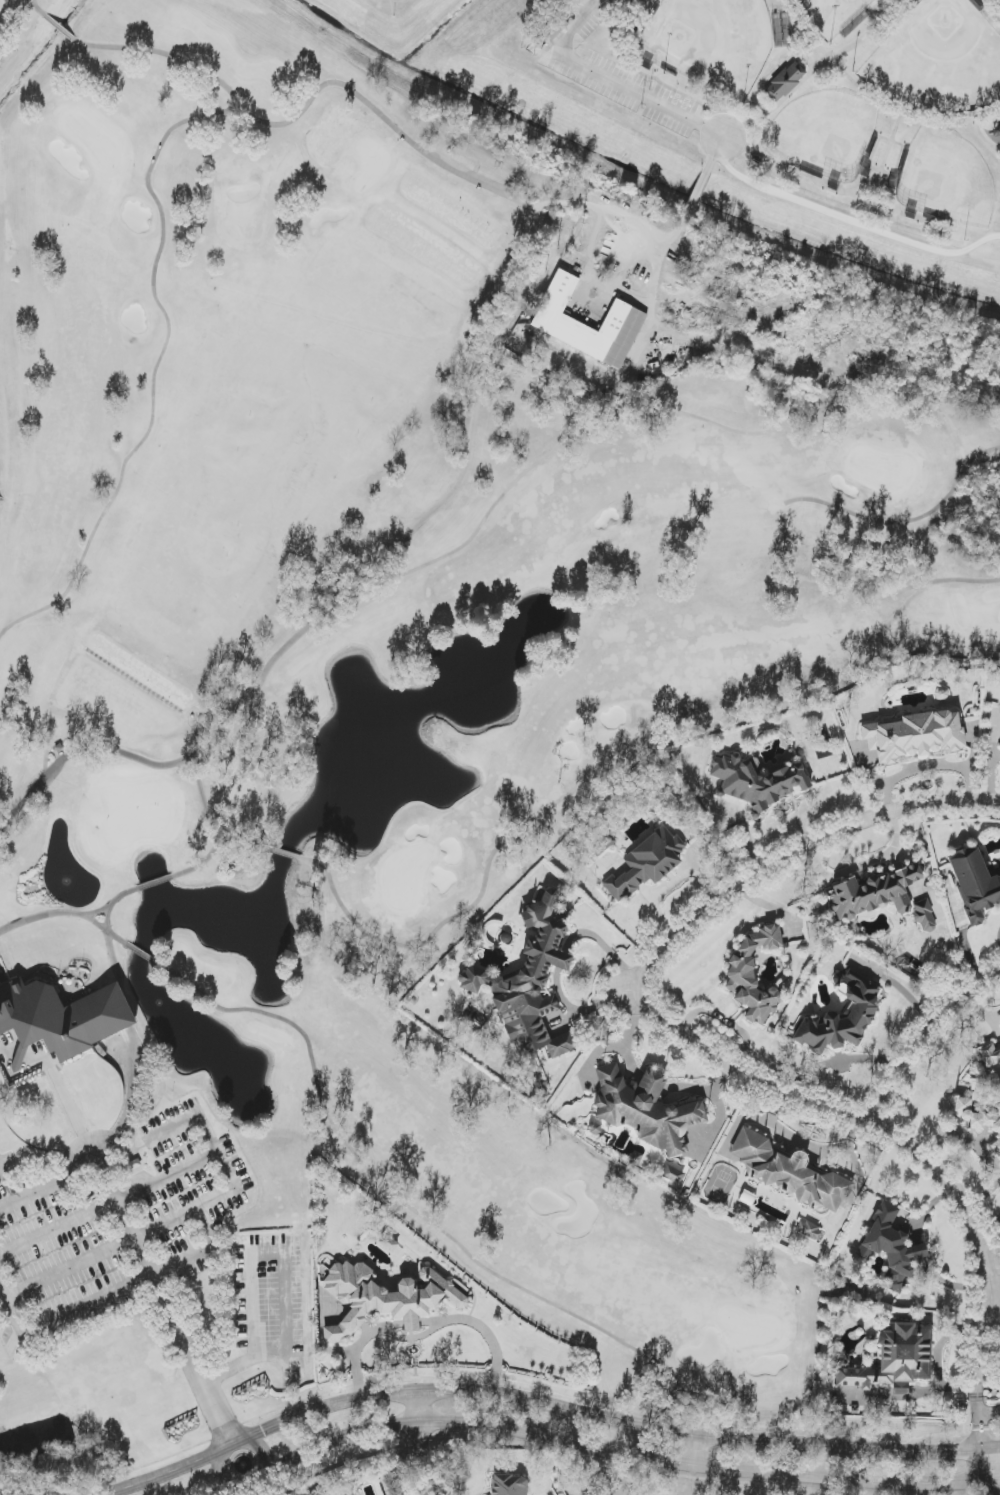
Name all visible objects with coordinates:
road: (997, 2)
park: (798, 81)
building: (784, 82)
road: (610, 84)
road: (879, 91)
road: (846, 219)
road: (653, 236)
road: (631, 298)
building: (555, 322)
road: (506, 326)
park: (389, 684)
building: (914, 736)
road: (926, 768)
building: (757, 781)
road: (993, 805)
building: (603, 846)
road: (785, 857)
building: (647, 863)
road: (860, 866)
building: (974, 884)
building: (873, 893)
building: (924, 916)
building: (753, 975)
building: (529, 983)
building: (859, 1012)
building: (61, 1018)
road: (724, 1020)
road: (922, 1033)
road: (837, 1061)
building: (644, 1110)
road: (845, 1113)
building: (979, 1121)
road: (80, 1131)
building: (674, 1172)
building: (789, 1172)
road: (32, 1198)
road: (108, 1205)
road: (183, 1214)
road: (990, 1229)
building: (810, 1231)
road: (135, 1238)
building: (890, 1245)
road: (203, 1252)
road: (274, 1252)
building: (385, 1298)
road: (996, 1309)
road: (64, 1316)
road: (411, 1322)
road: (484, 1330)
road: (411, 1337)
road: (358, 1347)
building: (894, 1360)
road: (243, 1365)
road: (977, 1389)
road: (611, 1421)
road: (418, 1444)
road: (257, 1447)
road: (698, 1449)
road: (625, 1452)
road: (218, 1463)
road: (172, 1469)
road: (998, 1472)
road: (998, 1483)
road: (250, 1485)
building: (509, 1485)
road: (218, 1490)

